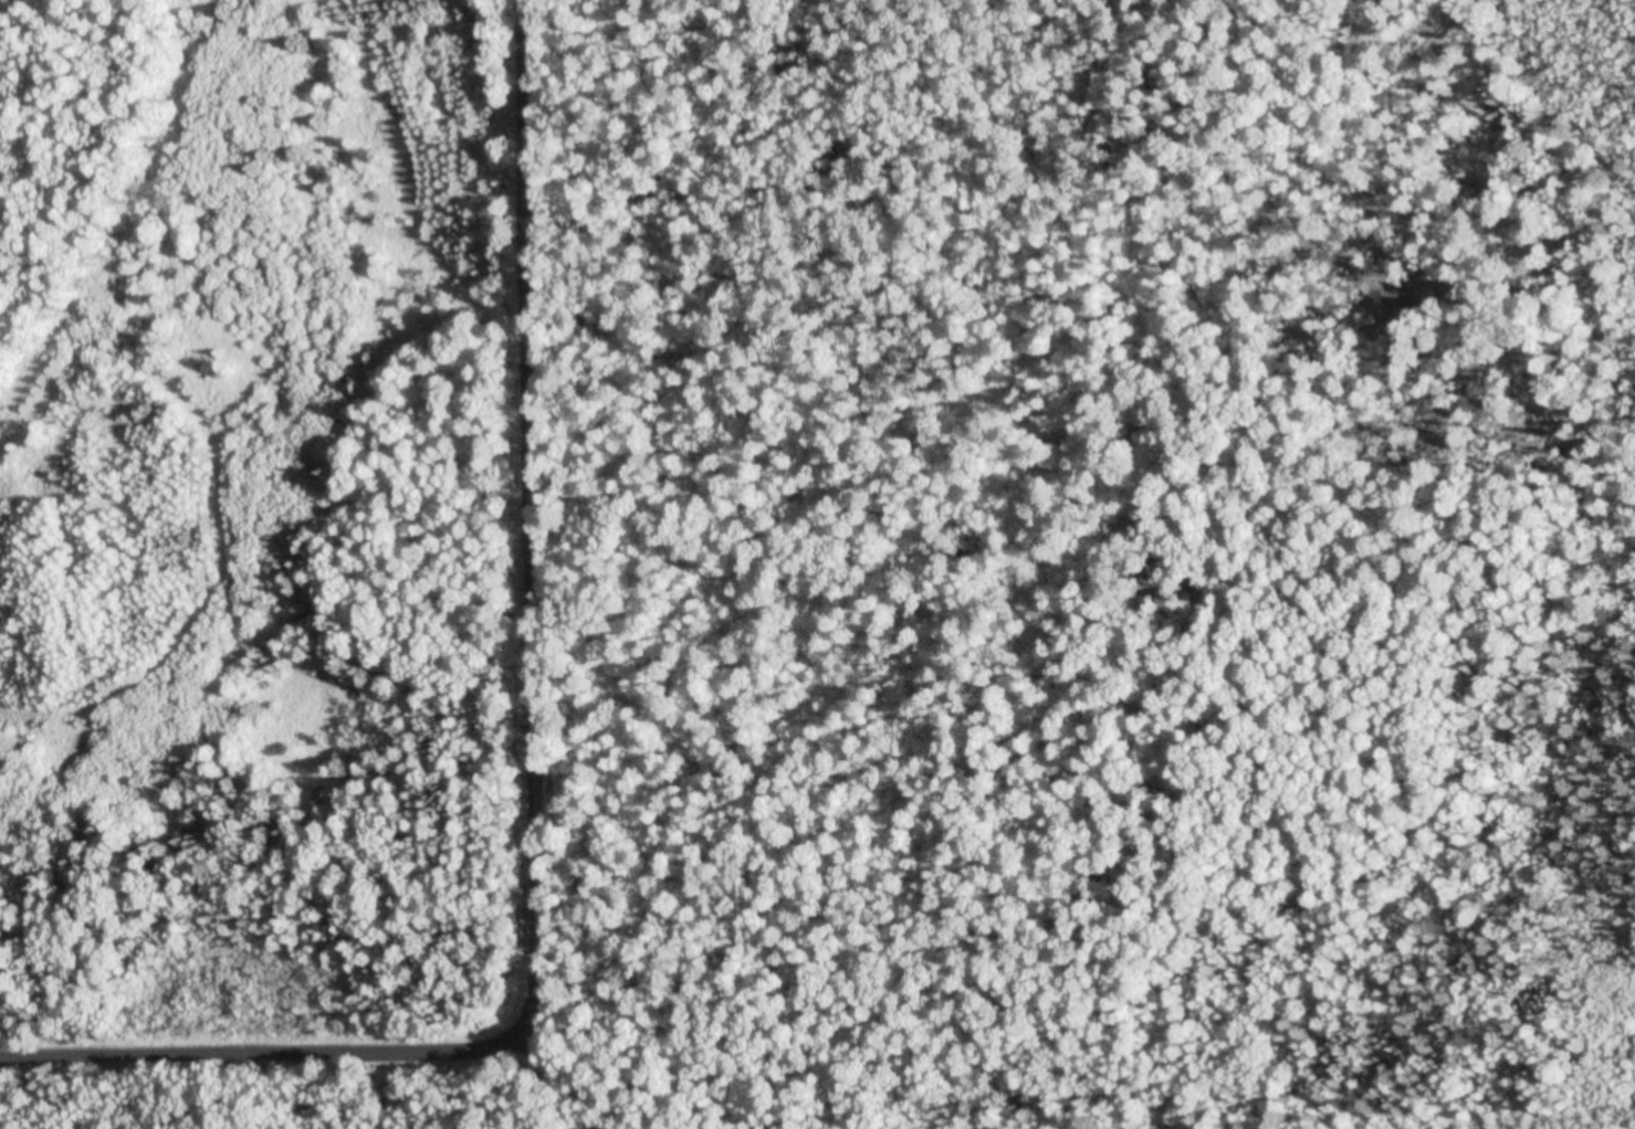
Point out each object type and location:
road: (545, 790)

